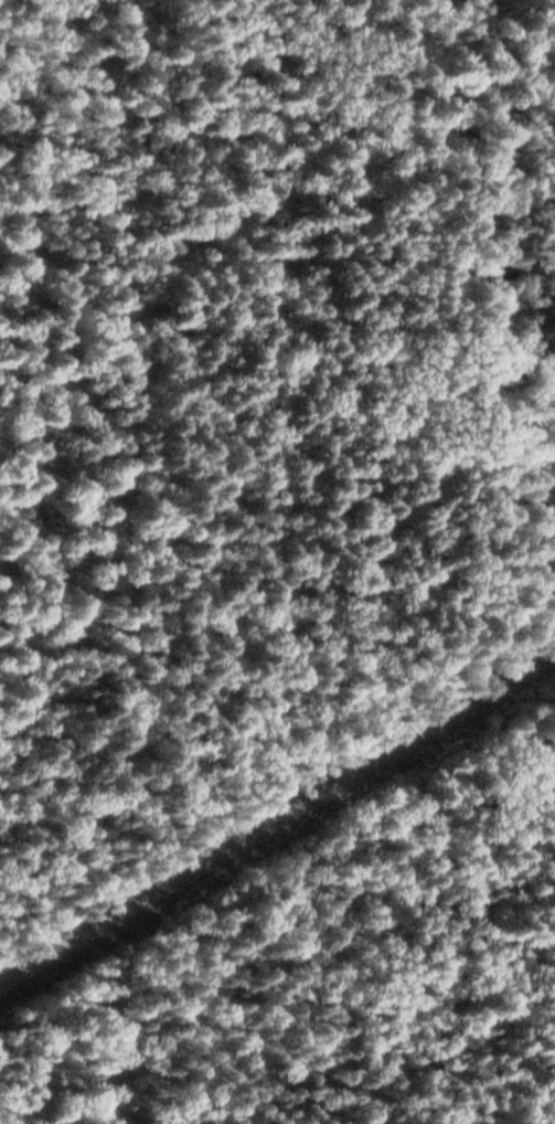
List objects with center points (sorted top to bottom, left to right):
road: (275, 820)

